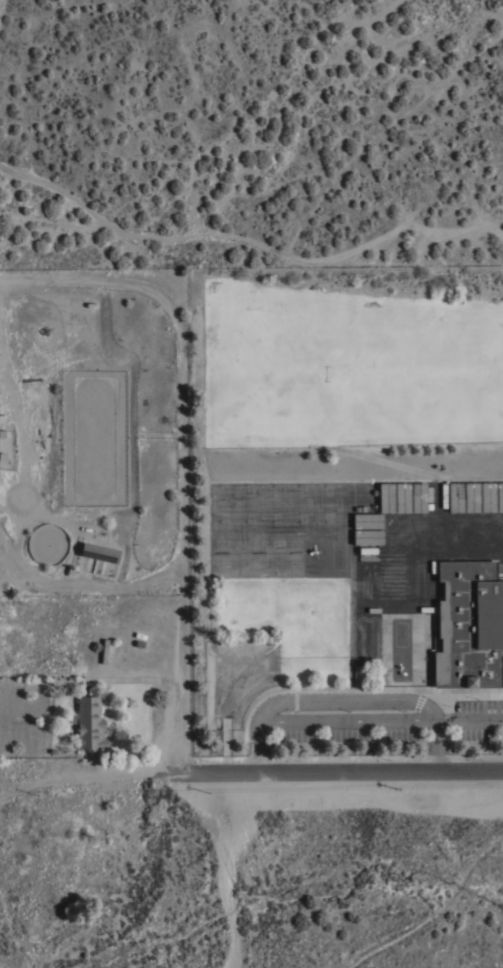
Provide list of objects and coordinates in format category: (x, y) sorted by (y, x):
park: (422, 369)
road: (183, 450)
building: (487, 496)
building: (499, 496)
building: (386, 497)
building: (402, 497)
building: (418, 497)
building: (455, 497)
building: (471, 497)
building: (367, 520)
road: (456, 534)
building: (367, 536)
building: (99, 553)
building: (469, 625)
building: (104, 651)
road: (183, 670)
road: (350, 701)
road: (470, 722)
road: (349, 723)
building: (89, 724)
road: (340, 775)
road: (87, 778)
road: (226, 870)
road: (435, 913)

